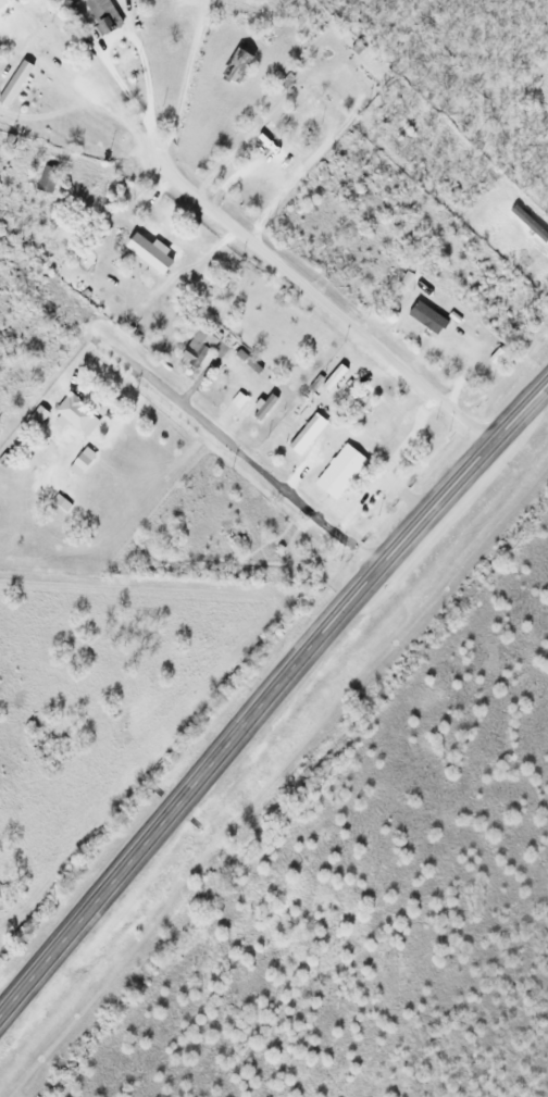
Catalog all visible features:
building: (2, 2)
building: (100, 15)
building: (13, 83)
building: (45, 179)
building: (147, 253)
road: (287, 271)
building: (436, 302)
building: (424, 317)
building: (197, 347)
building: (72, 412)
building: (301, 433)
road: (246, 459)
building: (338, 472)
road: (272, 710)
railway: (279, 777)

